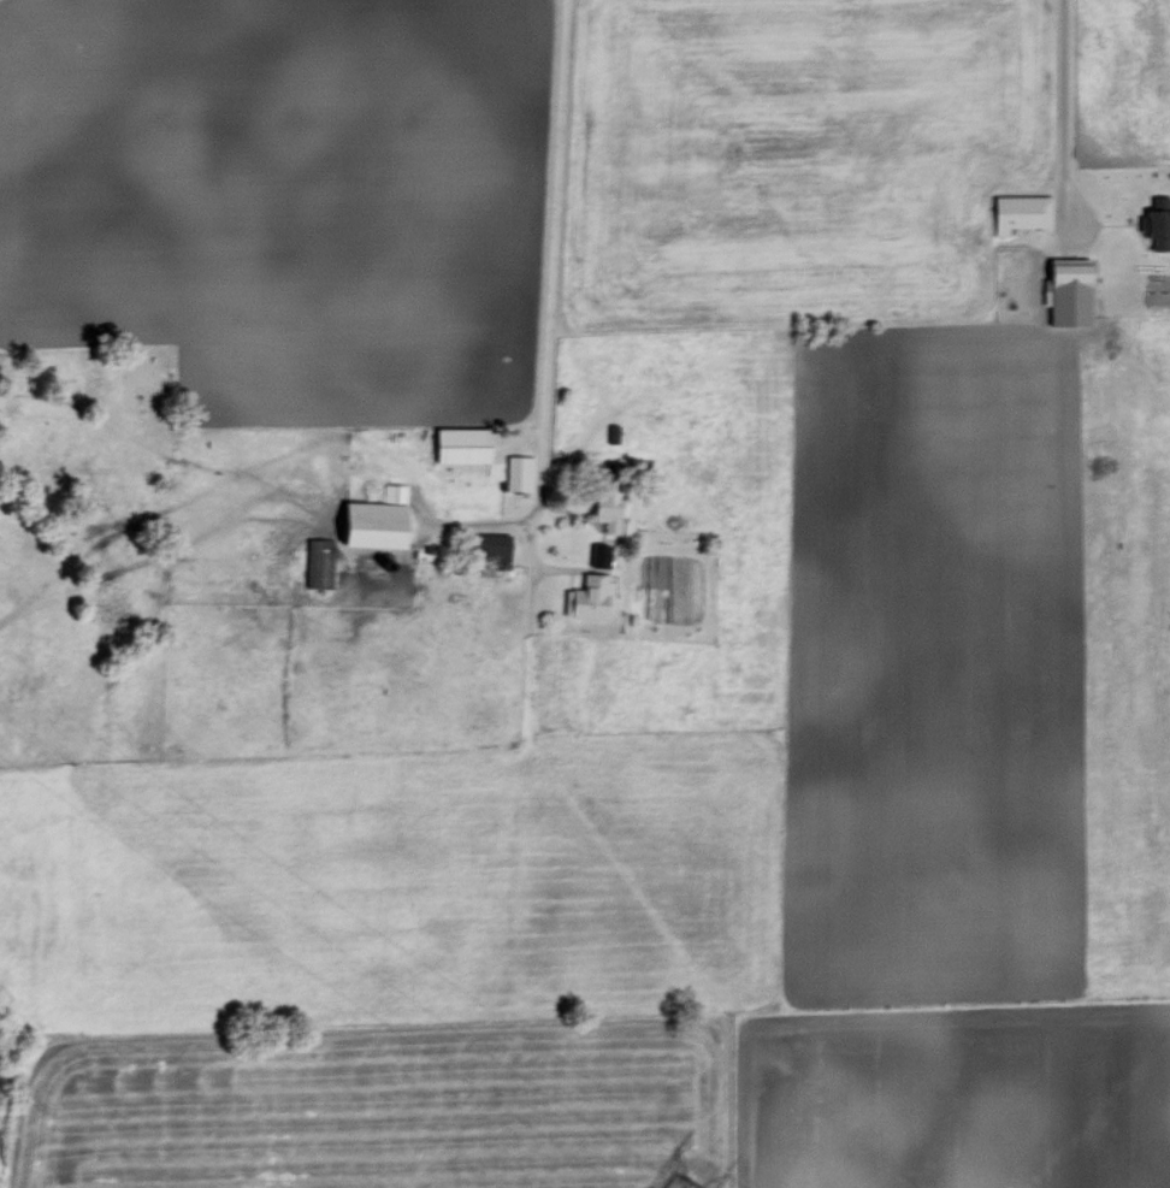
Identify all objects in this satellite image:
road: (1060, 102)
building: (1020, 211)
building: (1157, 221)
building: (1068, 271)
road: (548, 312)
building: (460, 443)
building: (518, 471)
building: (605, 502)
building: (373, 519)
building: (490, 549)
building: (597, 552)
building: (318, 562)
building: (590, 595)

